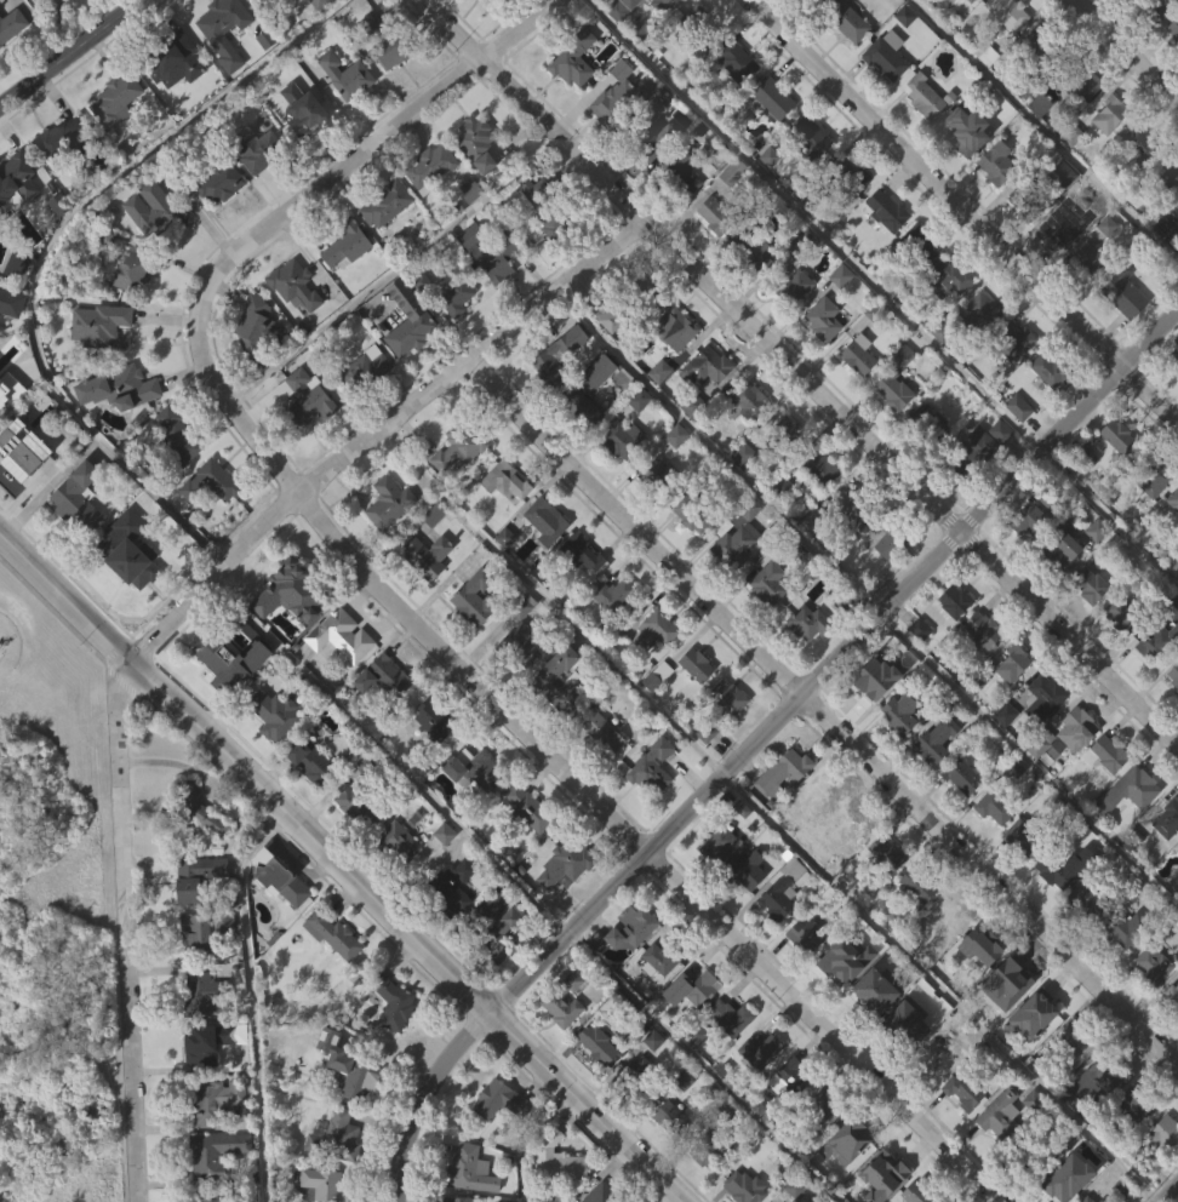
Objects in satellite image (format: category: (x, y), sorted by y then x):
building: (934, 1)
building: (321, 4)
building: (654, 4)
building: (776, 5)
building: (1156, 7)
building: (616, 8)
building: (45, 13)
building: (1003, 15)
building: (1116, 15)
building: (486, 17)
building: (273, 18)
building: (845, 18)
building: (816, 22)
building: (970, 23)
building: (13, 25)
building: (693, 25)
building: (1172, 27)
building: (224, 29)
building: (313, 38)
building: (641, 40)
building: (382, 41)
building: (1154, 42)
building: (1035, 44)
road: (1127, 50)
road: (70, 51)
building: (572, 53)
building: (886, 53)
building: (1006, 53)
building: (173, 58)
building: (732, 59)
building: (845, 67)
building: (368, 69)
building: (11, 70)
building: (223, 74)
building: (345, 75)
building: (1172, 75)
building: (1033, 84)
building: (1076, 86)
building: (926, 93)
building: (614, 96)
building: (115, 97)
building: (773, 97)
building: (389, 99)
building: (883, 102)
building: (571, 104)
building: (173, 108)
building: (303, 108)
building: (734, 108)
building: (1106, 113)
building: (343, 121)
road: (1045, 130)
building: (962, 131)
building: (1080, 131)
road: (383, 136)
building: (807, 137)
building: (114, 142)
building: (612, 142)
building: (921, 142)
building: (478, 143)
building: (644, 143)
building: (770, 144)
building: (1142, 144)
building: (76, 145)
building: (258, 148)
building: (301, 155)
building: (994, 160)
building: (1106, 161)
building: (428, 166)
building: (1167, 173)
building: (967, 174)
building: (671, 176)
building: (844, 176)
building: (222, 181)
building: (25, 183)
building: (807, 183)
building: (55, 184)
building: (1136, 188)
building: (651, 189)
building: (255, 194)
building: (468, 194)
building: (1025, 199)
building: (766, 200)
building: (387, 202)
building: (160, 207)
road: (951, 208)
building: (550, 210)
building: (883, 210)
building: (428, 212)
building: (711, 214)
building: (851, 217)
building: (677, 218)
building: (730, 218)
building: (1167, 222)
road: (814, 224)
building: (15, 225)
building: (1058, 227)
building: (217, 229)
building: (468, 236)
building: (345, 246)
building: (917, 246)
building: (749, 247)
road: (47, 250)
building: (57, 250)
building: (383, 250)
building: (542, 253)
building: (156, 254)
building: (882, 256)
building: (505, 259)
building: (713, 259)
building: (1092, 261)
building: (1176, 267)
building: (131, 270)
road: (398, 271)
building: (949, 275)
building: (1054, 275)
building: (298, 285)
building: (789, 286)
building: (917, 287)
building: (343, 291)
building: (1121, 294)
building: (458, 296)
building: (482, 298)
building: (10, 303)
building: (627, 305)
building: (1086, 305)
building: (967, 316)
building: (125, 317)
building: (820, 319)
building: (408, 320)
building: (837, 321)
building: (98, 325)
building: (671, 327)
building: (255, 330)
building: (292, 331)
building: (791, 332)
building: (1011, 340)
building: (1121, 340)
building: (453, 343)
building: (10, 348)
building: (556, 354)
building: (983, 355)
building: (1177, 356)
building: (856, 357)
building: (606, 362)
building: (364, 364)
building: (703, 365)
building: (820, 365)
building: (406, 367)
building: (670, 368)
building: (96, 370)
building: (1047, 370)
road: (800, 372)
building: (251, 373)
building: (1012, 384)
building: (132, 387)
building: (891, 388)
building: (305, 397)
building: (556, 399)
building: (747, 400)
building: (856, 401)
building: (578, 406)
building: (1174, 407)
building: (704, 411)
building: (1045, 414)
building: (360, 416)
building: (657, 417)
building: (926, 428)
building: (118, 434)
building: (1114, 434)
building: (783, 435)
building: (179, 436)
building: (585, 436)
building: (892, 436)
building: (624, 440)
building: (303, 441)
building: (747, 445)
building: (461, 446)
building: (976, 447)
building: (24, 451)
road: (717, 451)
building: (926, 465)
building: (822, 468)
building: (783, 473)
building: (658, 474)
building: (1150, 474)
building: (211, 481)
building: (504, 481)
building: (1114, 481)
building: (176, 482)
building: (617, 487)
building: (979, 490)
building: (456, 493)
building: (19, 496)
building: (78, 497)
building: (1170, 500)
building: (389, 502)
building: (856, 502)
building: (816, 513)
building: (691, 514)
building: (547, 517)
building: (1025, 519)
building: (653, 520)
road: (1109, 520)
building: (503, 526)
building: (1151, 526)
building: (208, 527)
building: (733, 534)
building: (885, 536)
building: (74, 543)
building: (1172, 545)
building: (387, 546)
building: (1059, 548)
building: (850, 554)
building: (579, 555)
building: (428, 556)
building: (125, 561)
building: (1025, 565)
building: (543, 566)
building: (502, 582)
building: (767, 584)
building: (882, 584)
building: (1086, 584)
building: (732, 589)
building: (292, 591)
building: (614, 593)
building: (1057, 594)
building: (473, 599)
building: (578, 599)
building: (424, 601)
building: (951, 601)
building: (125, 605)
road: (547, 606)
road: (177, 611)
building: (1120, 614)
building: (806, 622)
building: (765, 625)
building: (982, 628)
building: (1085, 630)
building: (652, 635)
building: (347, 637)
building: (288, 639)
building: (611, 639)
road: (17, 642)
building: (1155, 642)
building: (471, 643)
building: (516, 645)
building: (951, 646)
building: (1117, 656)
building: (221, 662)
building: (696, 663)
building: (1013, 663)
building: (805, 666)
building: (916, 674)
building: (384, 675)
building: (978, 675)
building: (1172, 675)
building: (651, 676)
building: (338, 680)
building: (517, 680)
building: (557, 680)
building: (868, 680)
building: (725, 697)
building: (1041, 698)
building: (228, 708)
building: (693, 710)
building: (1010, 710)
building: (274, 712)
road: (822, 712)
building: (898, 715)
building: (434, 720)
building: (1172, 720)
building: (382, 721)
building: (654, 721)
building: (868, 725)
building: (1080, 725)
building: (556, 726)
building: (599, 734)
road: (757, 738)
building: (936, 740)
building: (725, 742)
building: (1036, 742)
building: (1103, 754)
road: (387, 757)
building: (309, 759)
building: (896, 759)
building: (273, 760)
building: (1002, 760)
road: (556, 763)
road: (1029, 763)
building: (431, 765)
building: (648, 767)
building: (475, 768)
building: (795, 772)
building: (1071, 775)
building: (599, 777)
building: (959, 777)
building: (934, 785)
building: (1134, 786)
building: (1034, 791)
building: (819, 792)
building: (1102, 803)
building: (307, 805)
building: (991, 807)
building: (527, 808)
building: (205, 811)
building: (361, 811)
building: (650, 813)
building: (471, 814)
building: (1011, 814)
building: (779, 817)
building: (1168, 819)
building: (960, 822)
building: (851, 823)
building: (1132, 832)
building: (1020, 837)
building: (818, 838)
building: (396, 841)
building: (714, 843)
building: (1177, 845)
building: (353, 852)
building: (525, 852)
building: (886, 853)
building: (990, 853)
building: (565, 859)
building: (1165, 865)
road: (342, 866)
building: (851, 869)
building: (743, 870)
building: (1052, 870)
building: (195, 876)
building: (279, 877)
building: (1020, 882)
building: (914, 885)
building: (452, 887)
building: (395, 888)
building: (714, 888)
building: (778, 891)
building: (1176, 892)
building: (883, 898)
building: (1085, 901)
building: (560, 911)
building: (745, 914)
park: (52, 916)
building: (945, 917)
building: (1054, 918)
building: (278, 925)
building: (635, 926)
building: (1121, 928)
building: (198, 929)
building: (452, 929)
building: (914, 931)
building: (337, 934)
building: (780, 934)
building: (498, 935)
building: (802, 937)
building: (1081, 943)
building: (980, 945)
building: (662, 955)
building: (944, 963)
building: (1150, 965)
building: (835, 966)
building: (628, 973)
building: (1122, 974)
building: (1011, 977)
building: (331, 979)
building: (496, 979)
building: (804, 979)
building: (697, 983)
road: (937, 990)
building: (205, 991)
building: (869, 991)
building: (983, 994)
building: (1172, 994)
building: (564, 1001)
building: (656, 1002)
building: (391, 1003)
building: (1040, 1007)
building: (1149, 1009)
building: (835, 1011)
building: (730, 1015)
building: (1008, 1024)
building: (568, 1026)
building: (897, 1026)
building: (690, 1032)
building: (871, 1036)
building: (1172, 1038)
building: (1074, 1041)
building: (208, 1042)
building: (594, 1042)
building: (761, 1047)
building: (391, 1048)
building: (559, 1052)
building: (933, 1054)
building: (1030, 1059)
building: (728, 1063)
road: (702, 1068)
building: (902, 1068)
building: (354, 1074)
building: (637, 1074)
building: (785, 1075)
building: (650, 1084)
building: (1092, 1086)
building: (593, 1088)
building: (962, 1091)
building: (756, 1095)
building: (212, 1099)
building: (932, 1099)
building: (497, 1100)
building: (1134, 1103)
building: (820, 1106)
building: (999, 1107)
building: (348, 1112)
building: (635, 1114)
building: (669, 1120)
building: (1094, 1122)
building: (853, 1135)
building: (961, 1135)
building: (334, 1137)
building: (1156, 1139)
building: (496, 1145)
building: (705, 1150)
building: (1132, 1150)
building: (215, 1152)
building: (820, 1152)
building: (995, 1158)
building: (555, 1160)
building: (665, 1162)
building: (469, 1169)
building: (877, 1173)
building: (1161, 1179)
building: (324, 1184)
building: (1054, 1184)
building: (845, 1185)
building: (742, 1186)
building: (547, 1191)
building: (708, 1192)
building: (915, 1192)
road: (1170, 1194)
building: (601, 1195)
building: (212, 1198)
building: (457, 1198)
building: (881, 1198)
building: (1085, 1198)
building: (1069, 1200)
building: (1097, 1201)

